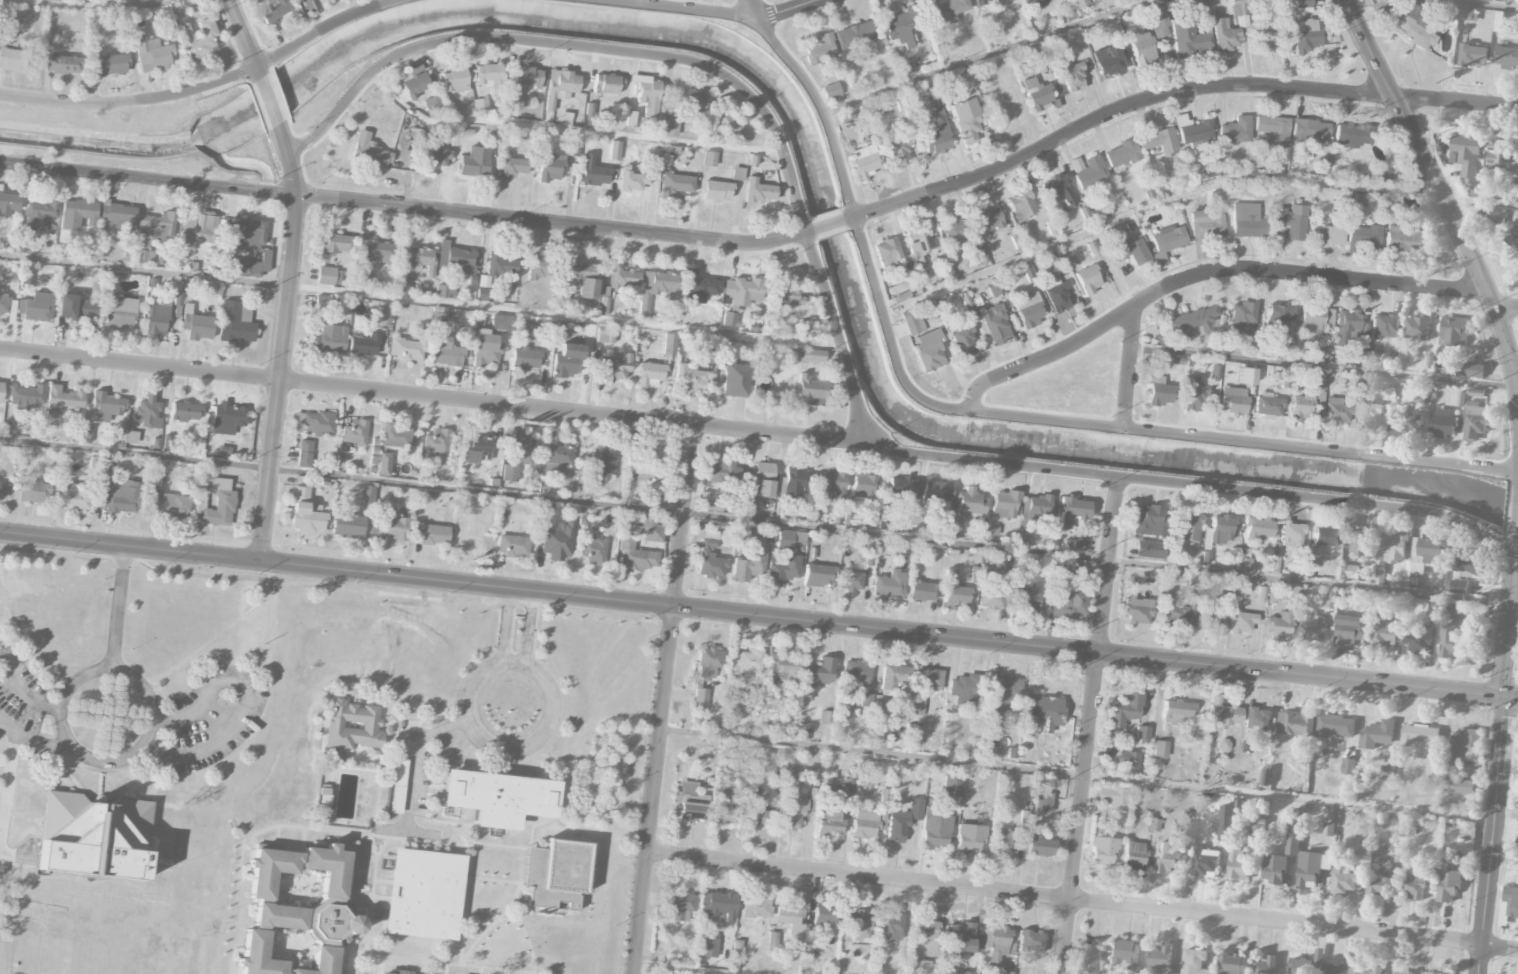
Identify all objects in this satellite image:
building: (301, 0)
building: (1509, 0)
building: (980, 1)
building: (1081, 4)
road: (1469, 5)
building: (1277, 6)
building: (1303, 6)
building: (1238, 7)
road: (80, 8)
road: (755, 9)
building: (947, 9)
building: (275, 11)
road: (704, 11)
building: (1156, 22)
building: (1406, 23)
building: (901, 27)
building: (853, 34)
building: (1225, 35)
building: (1265, 35)
building: (1306, 36)
road: (503, 38)
road: (246, 39)
building: (199, 40)
building: (1143, 48)
building: (821, 50)
road: (982, 53)
building: (152, 54)
building: (1473, 55)
building: (1507, 58)
building: (13, 60)
building: (1109, 61)
building: (63, 64)
building: (109, 65)
building: (527, 77)
building: (1073, 77)
building: (490, 78)
building: (415, 79)
building: (454, 80)
building: (607, 84)
building: (560, 86)
road: (203, 87)
building: (831, 90)
road: (1173, 93)
building: (647, 94)
building: (1037, 94)
road: (271, 100)
building: (691, 100)
building: (481, 106)
building: (634, 119)
building: (966, 119)
building: (672, 122)
building: (723, 123)
road: (567, 128)
building: (1236, 130)
building: (1310, 130)
building: (1272, 131)
building: (1193, 132)
building: (937, 135)
building: (1352, 135)
building: (1160, 141)
building: (614, 150)
building: (370, 151)
building: (899, 152)
building: (1499, 153)
building: (1121, 154)
building: (1467, 157)
building: (709, 158)
building: (436, 159)
building: (474, 162)
building: (863, 162)
building: (512, 166)
building: (549, 167)
building: (1088, 171)
building: (592, 172)
building: (737, 173)
building: (632, 180)
building: (676, 184)
building: (717, 190)
building: (1058, 190)
building: (758, 191)
road: (1188, 191)
road: (1440, 191)
building: (8, 203)
building: (1021, 205)
road: (403, 206)
building: (76, 213)
building: (39, 214)
building: (119, 215)
building: (1496, 216)
building: (989, 219)
building: (1248, 221)
building: (1292, 221)
road: (828, 223)
building: (1206, 224)
building: (157, 226)
building: (198, 230)
road: (855, 230)
building: (955, 231)
building: (1327, 234)
building: (1363, 237)
building: (1168, 238)
building: (1404, 240)
building: (335, 243)
building: (918, 243)
building: (23, 244)
building: (248, 247)
building: (379, 251)
building: (1131, 251)
building: (887, 252)
building: (144, 257)
building: (456, 258)
building: (421, 260)
building: (542, 268)
road: (1206, 274)
building: (329, 276)
building: (624, 278)
building: (584, 279)
building: (1088, 279)
building: (402, 285)
building: (699, 286)
building: (485, 287)
building: (657, 289)
building: (995, 289)
building: (742, 290)
building: (444, 291)
building: (1056, 294)
building: (786, 296)
road: (419, 299)
building: (4, 304)
building: (36, 307)
building: (75, 307)
road: (1506, 307)
building: (1029, 309)
building: (119, 312)
building: (1278, 315)
building: (383, 316)
building: (1243, 317)
building: (156, 320)
building: (730, 320)
building: (1310, 321)
building: (236, 322)
building: (501, 322)
building: (1194, 322)
building: (913, 323)
building: (996, 325)
building: (198, 326)
building: (1384, 327)
building: (1351, 328)
building: (1417, 328)
building: (809, 330)
building: (1454, 331)
building: (601, 336)
building: (331, 339)
building: (964, 340)
road: (284, 341)
building: (364, 344)
building: (409, 347)
building: (486, 349)
building: (669, 349)
building: (929, 349)
building: (445, 352)
building: (812, 355)
building: (525, 359)
building: (567, 361)
road: (1129, 366)
road: (1325, 366)
building: (615, 369)
building: (1474, 371)
building: (651, 374)
building: (1247, 376)
building: (690, 378)
building: (736, 380)
building: (1283, 380)
building: (810, 391)
building: (1160, 392)
building: (1194, 394)
building: (27, 396)
road: (438, 397)
building: (63, 400)
building: (1233, 400)
building: (107, 404)
building: (1268, 405)
building: (1301, 406)
building: (185, 411)
building: (148, 412)
building: (1337, 412)
building: (1369, 414)
building: (228, 418)
building: (1475, 421)
building: (316, 422)
building: (1408, 422)
building: (1443, 423)
building: (355, 432)
building: (88, 434)
building: (396, 435)
building: (437, 441)
road: (1243, 441)
building: (476, 448)
building: (305, 452)
building: (558, 453)
building: (516, 454)
building: (601, 462)
building: (641, 462)
building: (384, 464)
road: (1013, 465)
building: (722, 470)
building: (762, 478)
building: (792, 482)
building: (829, 483)
building: (863, 485)
building: (902, 487)
building: (2, 490)
building: (937, 491)
building: (33, 492)
building: (118, 494)
building: (367, 494)
building: (73, 497)
building: (659, 499)
building: (707, 502)
building: (970, 502)
building: (1004, 504)
building: (169, 505)
building: (746, 506)
building: (1073, 510)
building: (1033, 512)
building: (306, 513)
road: (755, 519)
building: (1148, 521)
building: (348, 524)
building: (392, 525)
building: (918, 525)
building: (1188, 526)
building: (1259, 528)
building: (651, 529)
building: (953, 529)
building: (1219, 531)
building: (990, 532)
building: (431, 534)
building: (1291, 534)
road: (1517, 534)
building: (1325, 536)
building: (789, 539)
building: (557, 540)
building: (1359, 540)
building: (513, 545)
building: (1072, 546)
building: (593, 549)
building: (1149, 549)
building: (901, 550)
building: (1392, 552)
building: (1426, 554)
building: (634, 557)
building: (1244, 559)
building: (710, 560)
building: (1467, 564)
building: (748, 566)
building: (782, 569)
building: (1077, 569)
building: (1310, 569)
building: (1350, 573)
building: (818, 575)
building: (851, 581)
building: (889, 584)
building: (1458, 587)
building: (954, 589)
building: (921, 590)
building: (1027, 591)
building: (993, 597)
building: (1331, 599)
building: (1068, 605)
road: (119, 608)
building: (1138, 611)
building: (1176, 612)
building: (1453, 612)
road: (752, 615)
building: (1208, 619)
road: (1509, 620)
building: (1242, 622)
road: (506, 625)
building: (1280, 625)
building: (1313, 627)
road: (528, 628)
building: (1349, 630)
building: (1385, 634)
park: (1513, 638)
building: (1450, 642)
building: (1419, 644)
building: (746, 666)
building: (782, 670)
road: (84, 672)
building: (706, 672)
building: (856, 672)
building: (817, 674)
building: (892, 676)
building: (930, 679)
road: (21, 687)
building: (964, 690)
traffic signals: (1505, 695)
road: (1511, 696)
building: (1000, 697)
road: (247, 698)
road: (664, 699)
building: (871, 701)
parking lot: (25, 703)
building: (915, 706)
building: (1124, 710)
building: (1176, 711)
building: (1042, 712)
building: (1222, 714)
parking lot: (208, 719)
building: (1257, 719)
building: (1296, 724)
building: (352, 726)
road: (1092, 726)
building: (1334, 727)
building: (1142, 733)
building: (1377, 734)
building: (1420, 737)
road: (32, 739)
road: (516, 746)
building: (1462, 748)
building: (1160, 749)
road: (413, 757)
road: (503, 761)
building: (1129, 761)
building: (1348, 767)
road: (64, 770)
road: (1077, 774)
building: (1387, 774)
road: (100, 778)
road: (137, 778)
building: (951, 785)
building: (398, 786)
building: (1462, 787)
road: (7, 788)
parking lot: (409, 792)
road: (425, 793)
road: (606, 793)
building: (849, 795)
building: (498, 797)
building: (1113, 797)
building: (1043, 801)
building: (723, 812)
building: (793, 814)
building: (759, 818)
building: (870, 819)
building: (903, 819)
road: (545, 820)
building: (829, 820)
road: (439, 821)
building: (1225, 823)
road: (361, 827)
road: (308, 828)
building: (935, 828)
building: (1257, 828)
building: (1188, 830)
building: (1328, 830)
road: (406, 831)
road: (1491, 834)
building: (1293, 835)
building: (92, 836)
road: (277, 837)
road: (379, 837)
building: (969, 838)
road: (408, 840)
building: (1001, 841)
road: (345, 842)
road: (499, 846)
building: (1039, 846)
road: (302, 847)
building: (1103, 851)
road: (14, 855)
road: (199, 855)
building: (1133, 855)
building: (1168, 859)
building: (1205, 863)
building: (1237, 866)
building: (1274, 869)
building: (270, 870)
building: (556, 873)
road: (495, 880)
building: (1344, 881)
building: (1415, 883)
building: (1378, 886)
building: (1449, 886)
building: (423, 893)
road: (1082, 899)
building: (717, 904)
building: (1508, 905)
building: (682, 906)
building: (756, 907)
road: (465, 910)
building: (318, 911)
road: (370, 913)
building: (791, 916)
building: (823, 916)
road: (510, 919)
road: (492, 924)
building: (859, 924)
building: (891, 926)
building: (923, 930)
road: (524, 932)
building: (962, 940)
building: (994, 942)
building: (1029, 942)
building: (709, 947)
road: (448, 951)
building: (1126, 952)
building: (258, 955)
building: (1092, 956)
road: (351, 957)
road: (206, 959)
building: (1160, 960)
road: (443, 962)
building: (1194, 962)
building: (1307, 963)
building: (1233, 964)
road: (380, 965)
building: (1266, 966)
road: (690, 967)
road: (446, 968)
building: (927, 968)
building: (1339, 969)
road: (239, 970)
building: (1374, 970)
building: (964, 972)
building: (1003, 972)
building: (384, 973)
building: (675, 973)
building: (1404, 973)

